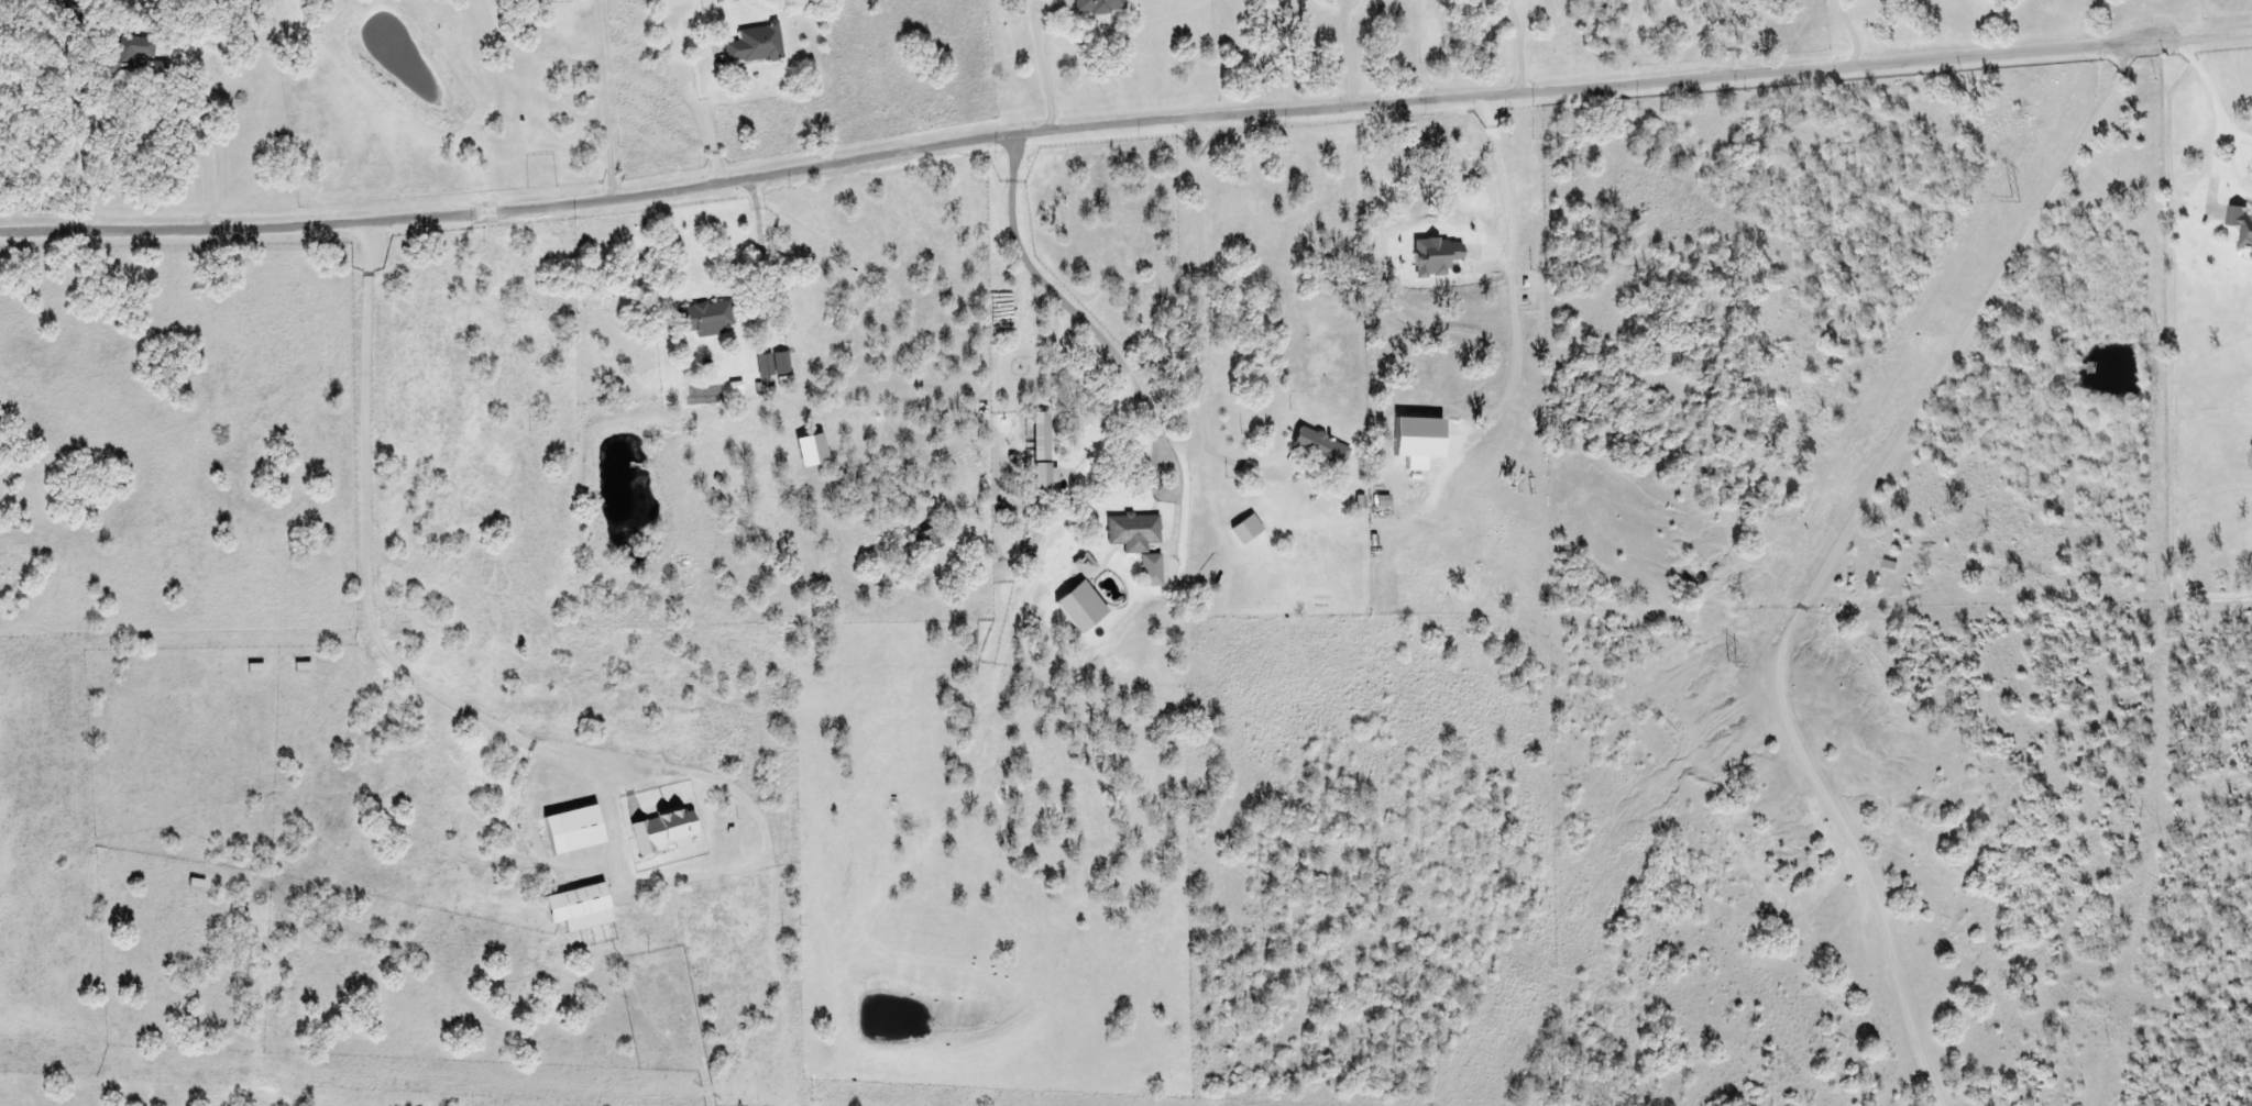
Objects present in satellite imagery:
building: (543, 0)
road: (1348, 4)
building: (1096, 5)
road: (1523, 44)
building: (757, 46)
building: (139, 49)
road: (1349, 51)
road: (1041, 56)
road: (1079, 126)
road: (1506, 184)
power tower: (2019, 201)
road: (760, 222)
building: (2239, 225)
building: (1431, 257)
road: (1079, 317)
building: (713, 319)
building: (778, 367)
building: (737, 390)
building: (1407, 442)
building: (1316, 447)
building: (808, 451)
building: (1041, 453)
road: (1178, 472)
building: (1377, 501)
building: (1355, 502)
building: (1241, 530)
building: (1129, 532)
building: (1080, 566)
building: (1146, 571)
building: (1074, 607)
power tower: (1728, 665)
building: (576, 831)
building: (667, 832)
building: (583, 908)

